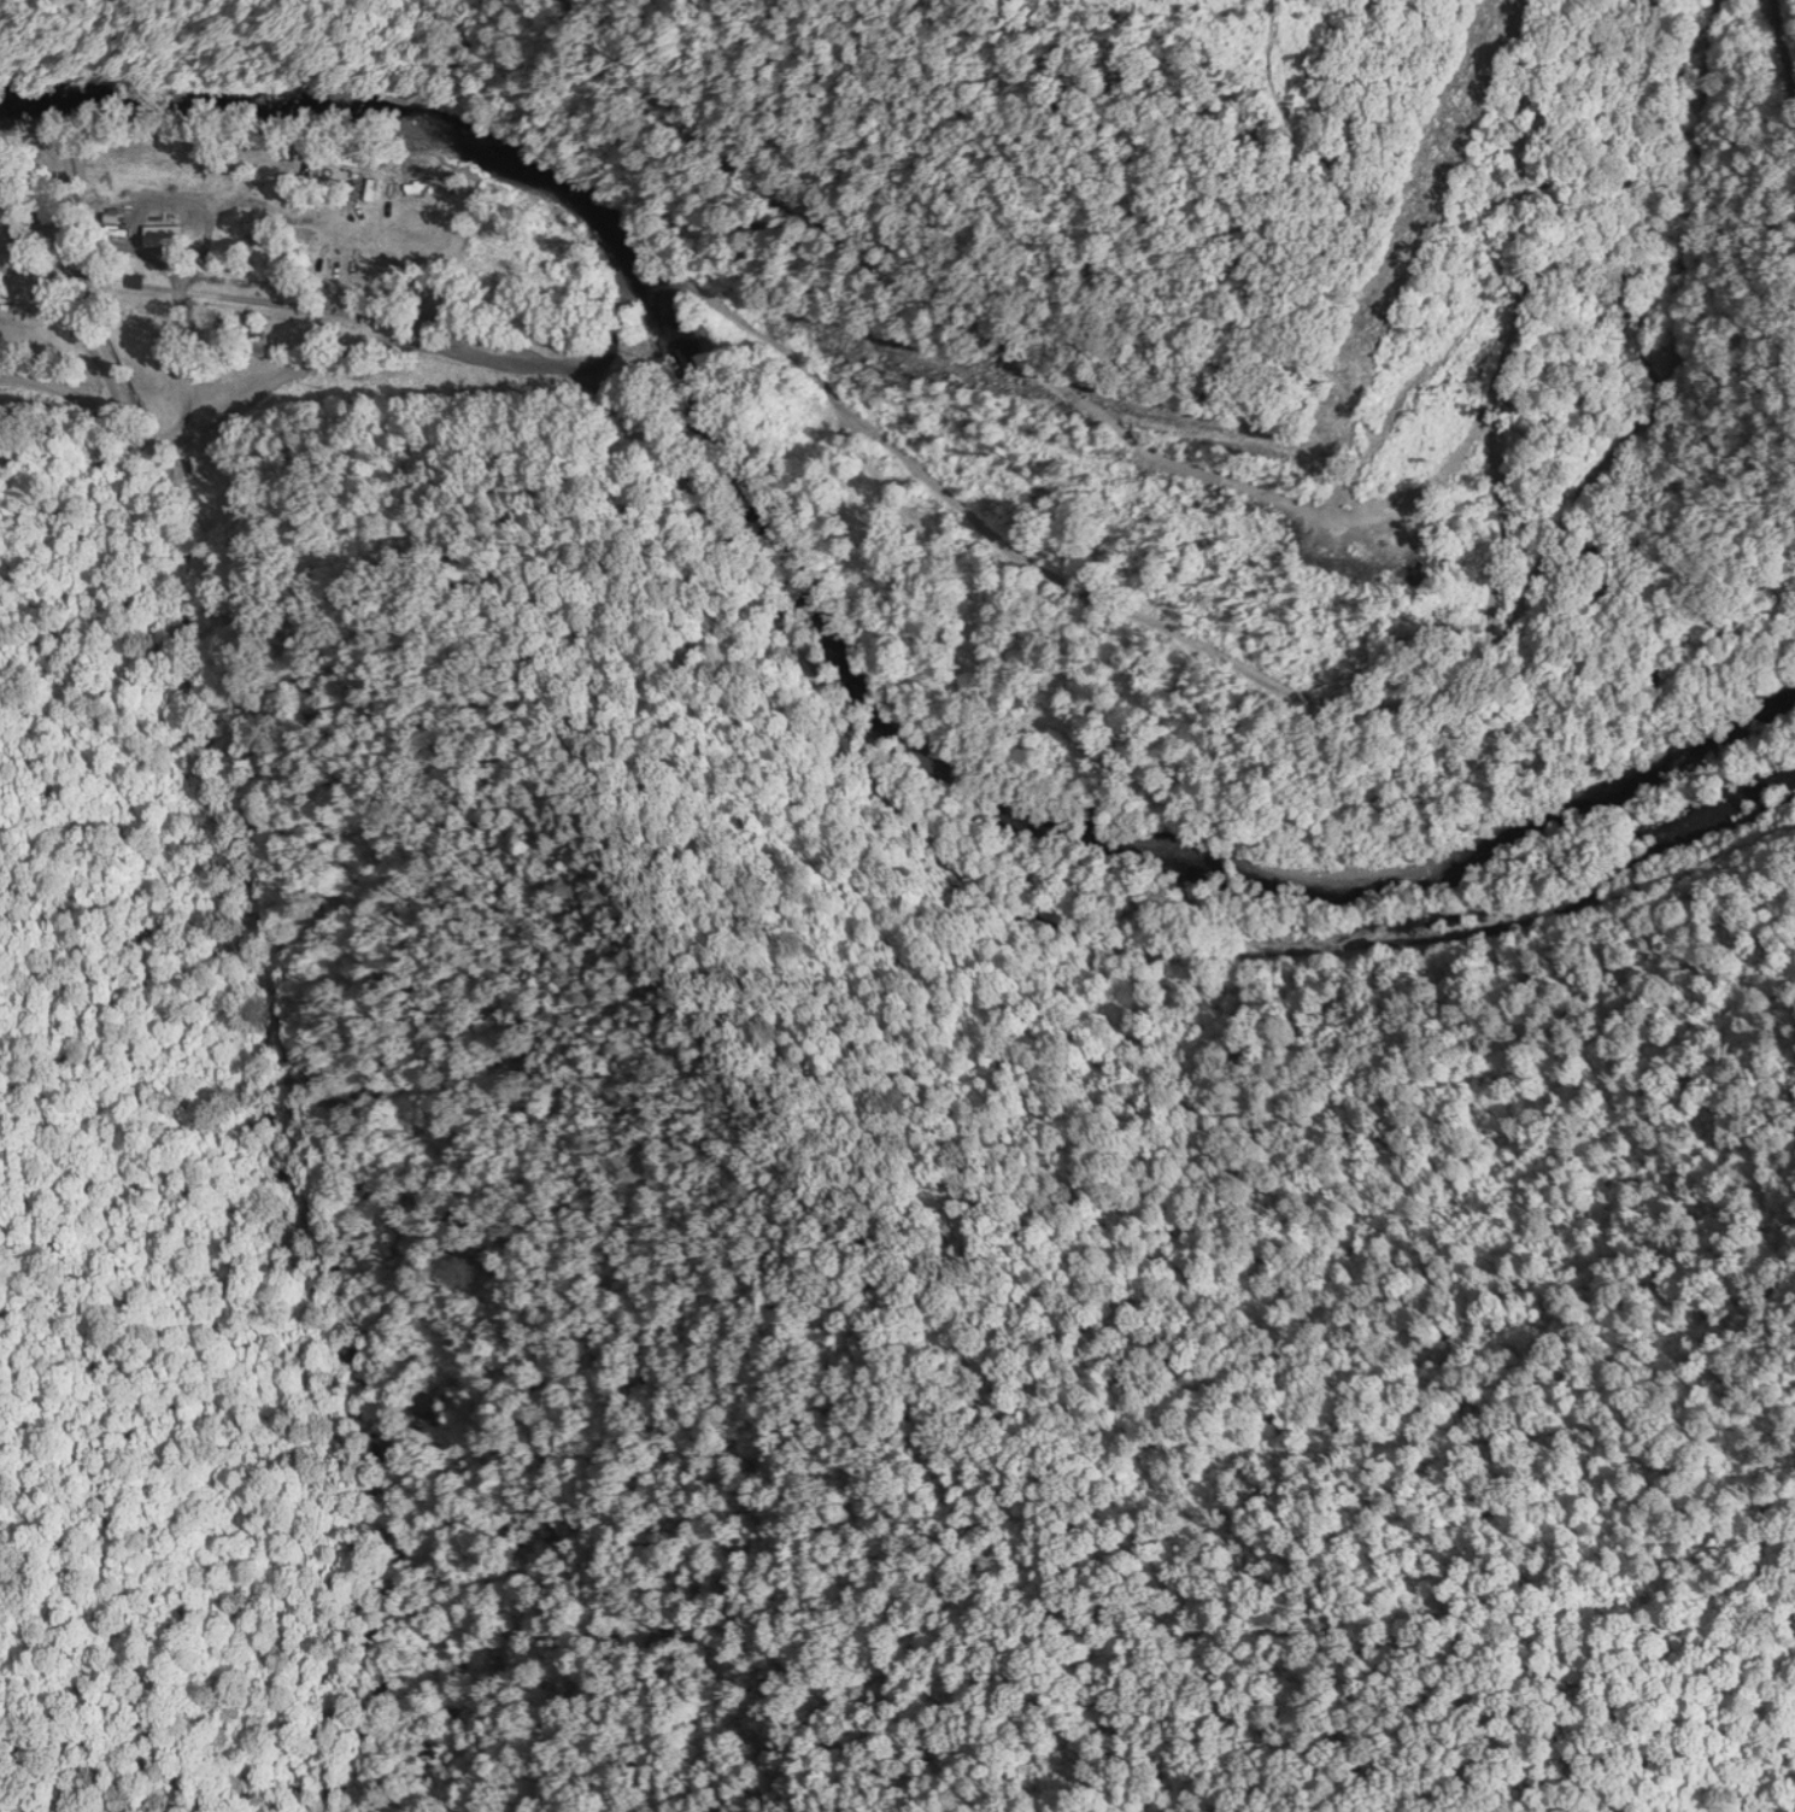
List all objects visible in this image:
road: (1007, 547)
road: (233, 627)
road: (1648, 687)

